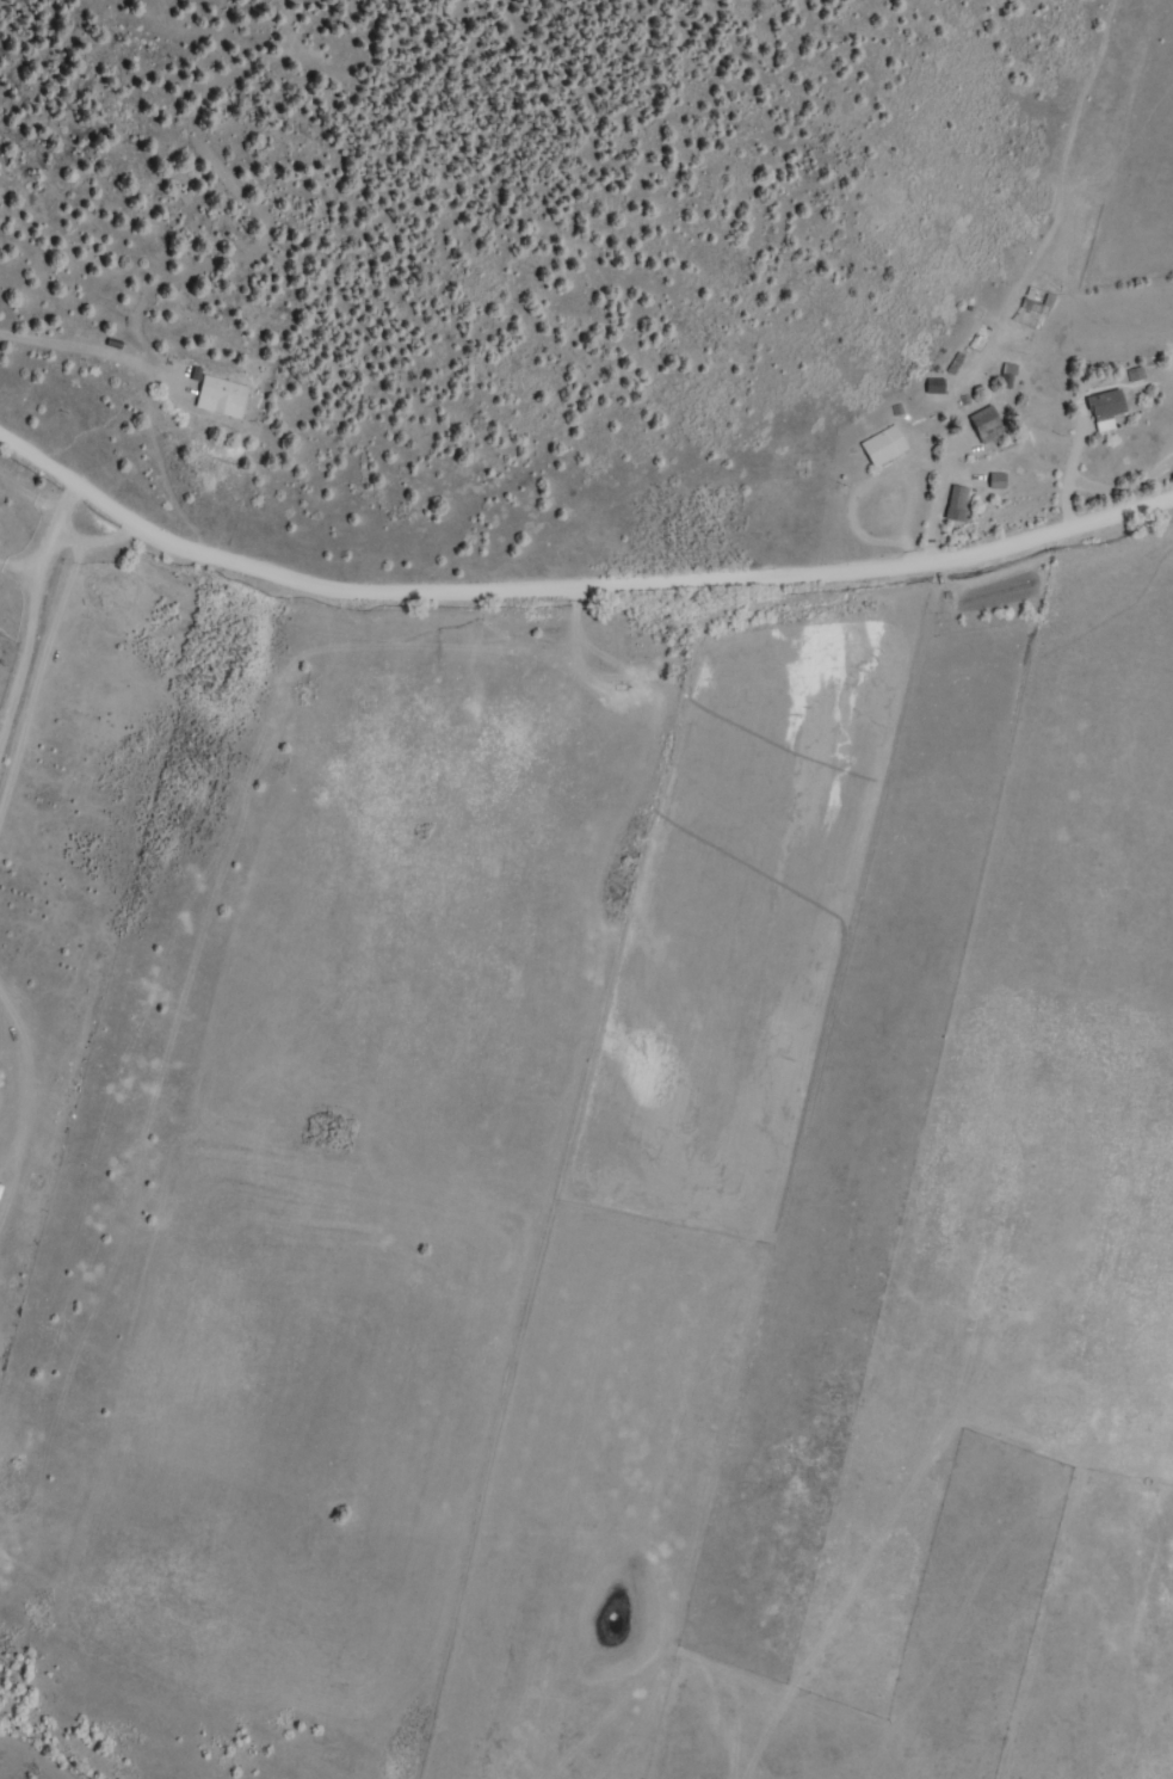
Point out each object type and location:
building: (1035, 306)
building: (226, 398)
building: (1110, 411)
building: (990, 426)
road: (286, 444)
building: (888, 448)
road: (10, 493)
building: (959, 505)
road: (579, 591)
road: (58, 1263)

